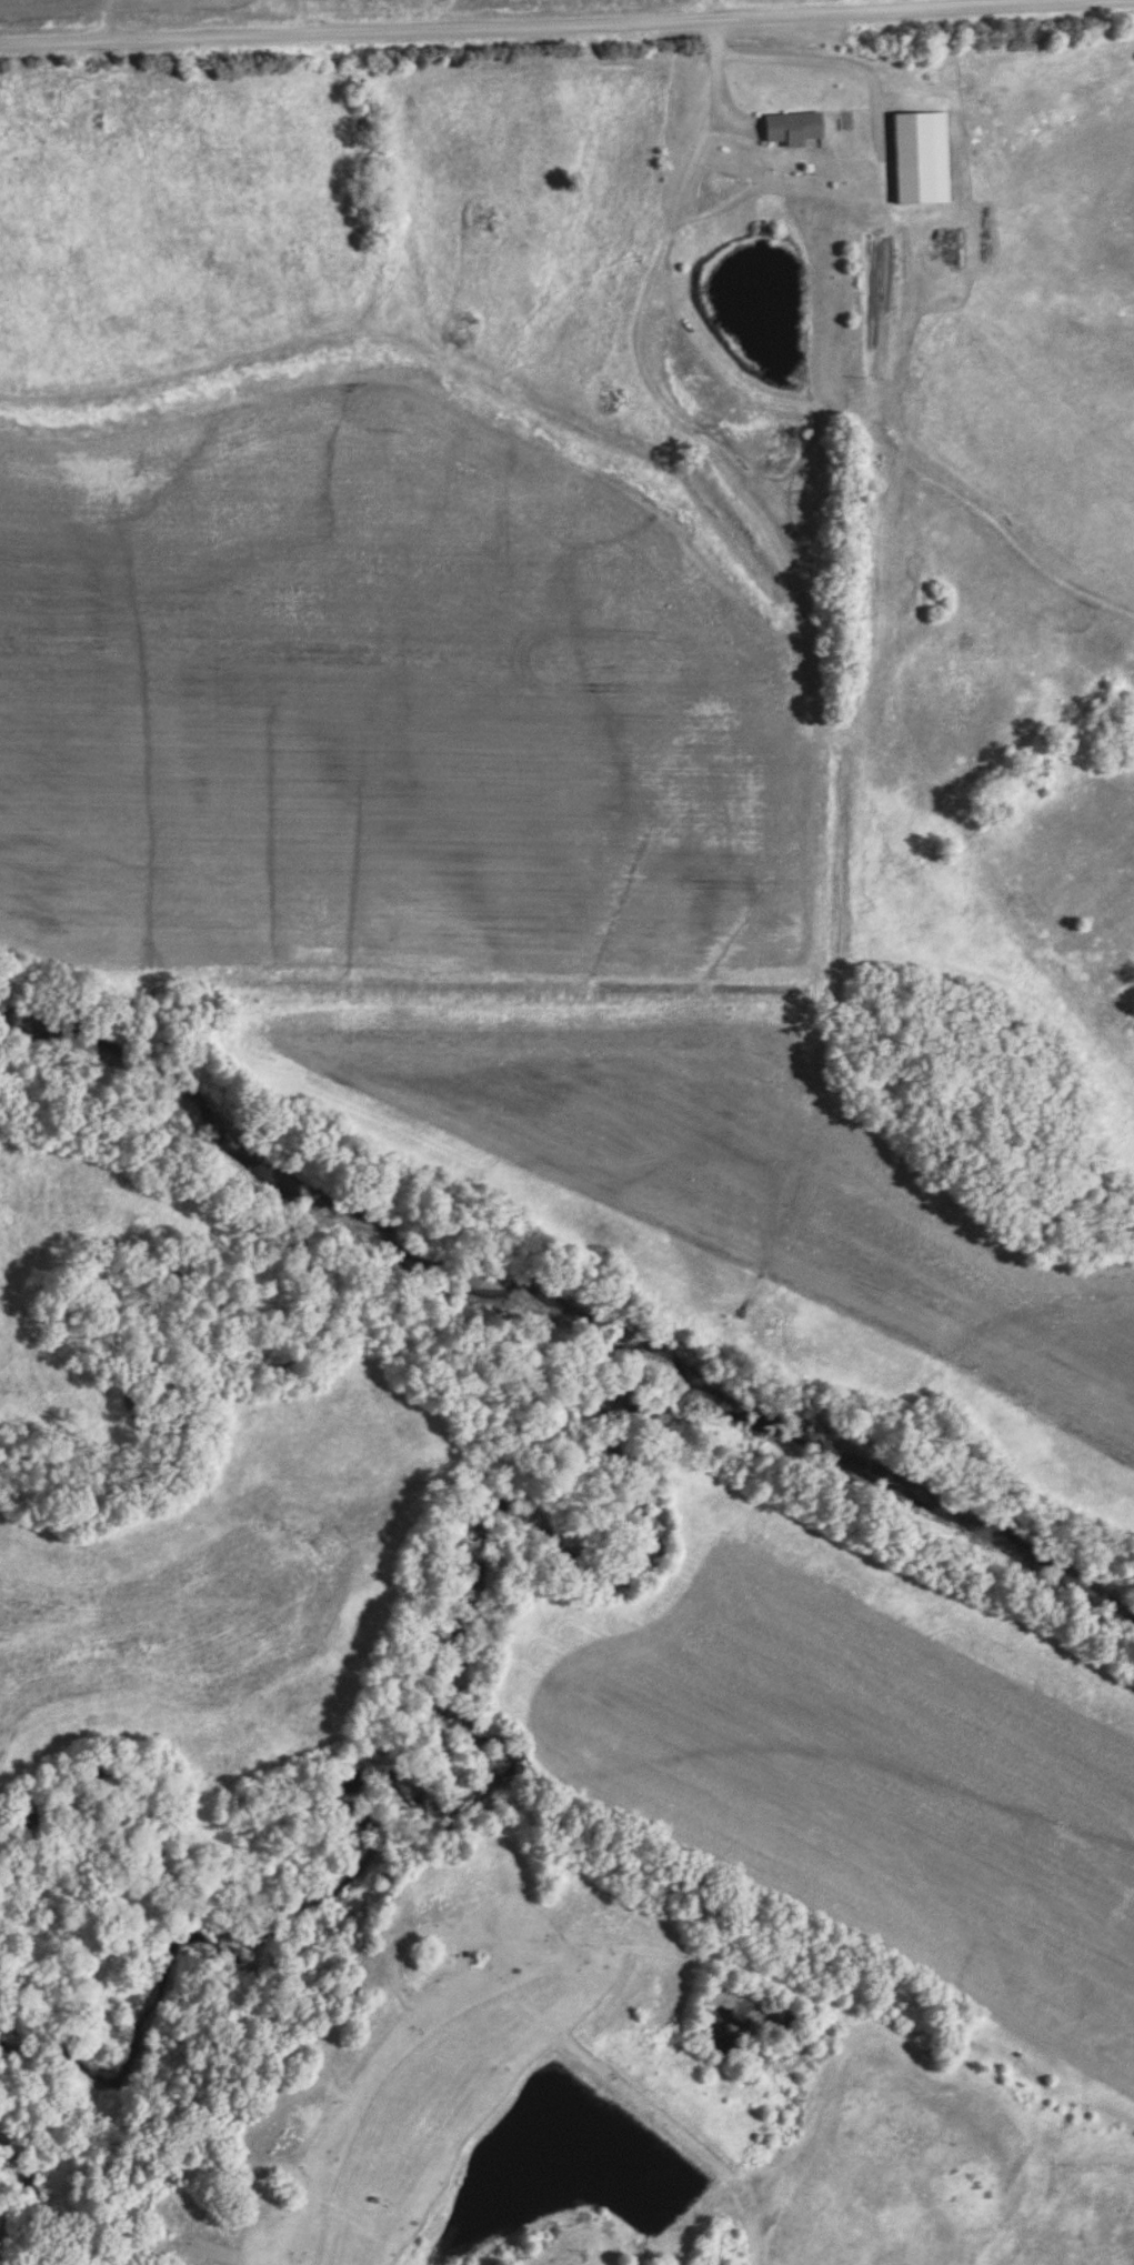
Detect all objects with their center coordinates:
road: (529, 24)
building: (795, 124)
building: (923, 156)

